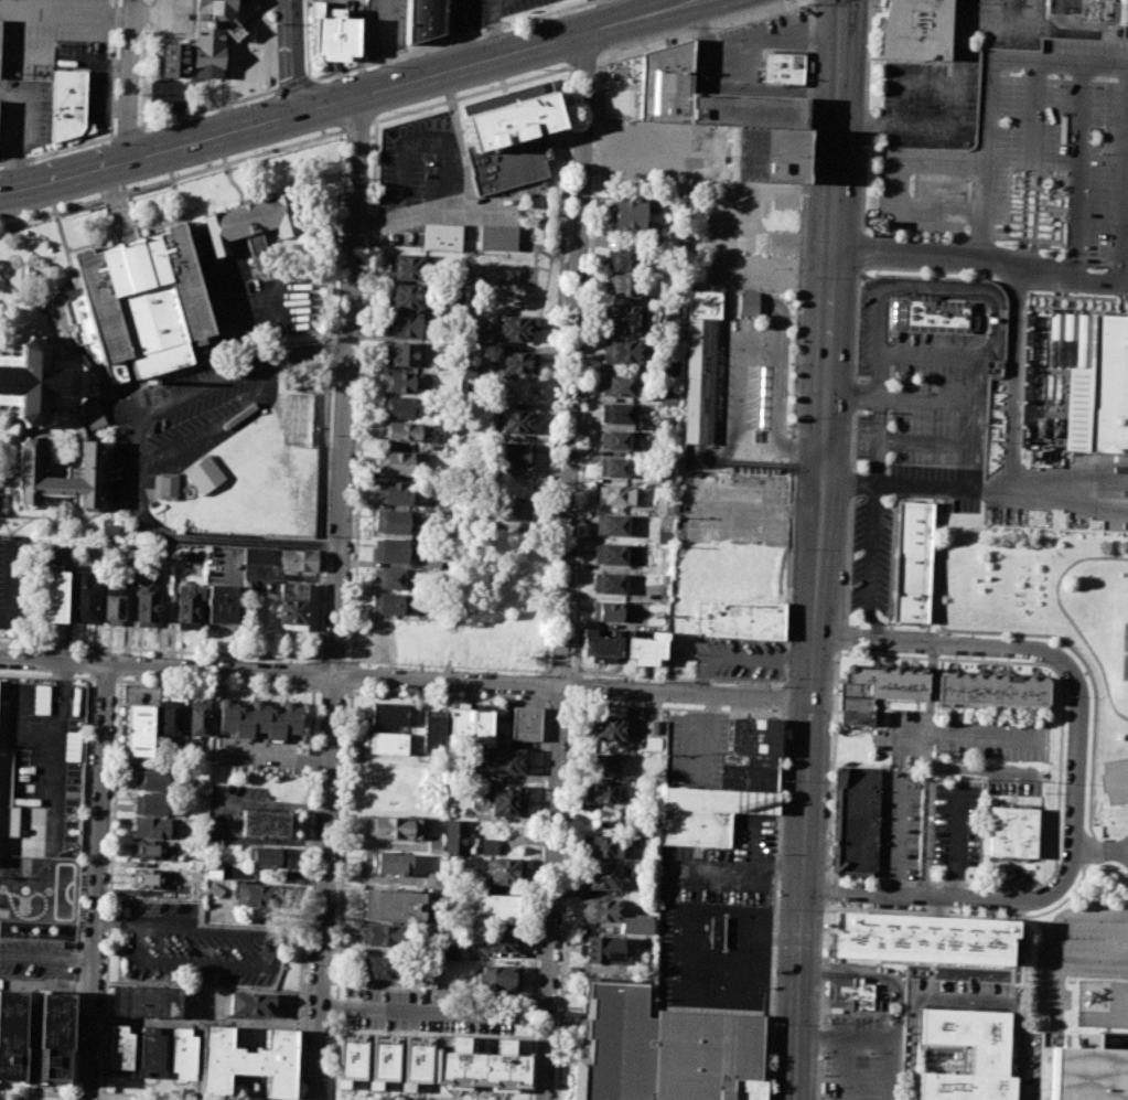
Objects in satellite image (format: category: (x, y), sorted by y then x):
building: (1109, 0)
street lamp: (869, 6)
parking lot: (493, 11)
road: (612, 11)
road: (67, 14)
building: (422, 19)
street lamp: (526, 23)
parking lot: (384, 26)
street lamp: (689, 26)
road: (696, 29)
building: (915, 29)
road: (1013, 29)
parking lot: (44, 32)
street lamp: (716, 33)
building: (211, 35)
road: (450, 35)
building: (334, 36)
road: (308, 39)
street lamp: (868, 39)
road: (452, 40)
road: (387, 43)
road: (749, 44)
road: (14, 47)
road: (527, 47)
road: (294, 55)
building: (173, 61)
road: (939, 61)
road: (583, 62)
road: (144, 64)
street lamp: (377, 65)
building: (778, 66)
road: (119, 67)
street lamp: (595, 67)
road: (114, 68)
street lamp: (539, 70)
street lamp: (870, 74)
parking lot: (87, 75)
parking lot: (956, 75)
road: (104, 78)
road: (132, 79)
street lamp: (276, 82)
road: (904, 82)
building: (664, 83)
road: (292, 84)
road: (744, 87)
street lamp: (881, 88)
road: (990, 88)
road: (470, 94)
street lamp: (245, 102)
building: (67, 105)
road: (326, 105)
street lamp: (906, 105)
street lamp: (941, 106)
road: (207, 109)
street lamp: (870, 109)
building: (743, 110)
street lamp: (388, 111)
road: (866, 113)
parking lot: (24, 115)
street lamp: (138, 115)
road: (955, 124)
road: (356, 127)
road: (18, 131)
road: (128, 131)
building: (509, 135)
street lamp: (105, 141)
street lamp: (343, 141)
street lamp: (863, 148)
street lamp: (257, 149)
road: (58, 150)
building: (762, 152)
road: (148, 153)
road: (1030, 169)
parking lot: (1054, 169)
road: (1078, 170)
road: (171, 179)
road: (172, 181)
parking lot: (437, 181)
road: (893, 184)
street lamp: (803, 186)
street lamp: (117, 188)
road: (465, 192)
road: (114, 196)
road: (1126, 209)
road: (54, 214)
building: (630, 214)
road: (119, 216)
road: (169, 222)
building: (250, 222)
road: (0, 226)
street lamp: (873, 234)
street lamp: (920, 234)
building: (441, 237)
building: (496, 237)
road: (126, 241)
road: (79, 247)
road: (861, 248)
road: (981, 254)
building: (625, 259)
building: (408, 267)
street lamp: (873, 274)
street lamp: (801, 277)
street lamp: (858, 280)
street lamp: (863, 282)
building: (624, 285)
road: (943, 292)
building: (406, 297)
road: (11, 300)
building: (138, 303)
building: (746, 305)
building: (935, 313)
road: (705, 314)
building: (672, 316)
building: (623, 319)
building: (404, 324)
building: (507, 329)
road: (71, 349)
building: (623, 352)
road: (924, 352)
building: (404, 353)
building: (85, 360)
building: (517, 362)
road: (588, 365)
building: (702, 365)
road: (558, 369)
building: (669, 369)
road: (879, 372)
parking lot: (205, 375)
street lamp: (927, 377)
street lamp: (858, 378)
building: (40, 381)
chimney: (150, 382)
building: (402, 383)
building: (620, 385)
building: (1113, 385)
road: (364, 392)
road: (850, 393)
road: (329, 395)
building: (668, 397)
road: (922, 398)
building: (400, 407)
building: (617, 413)
building: (88, 415)
street lamp: (795, 417)
building: (512, 421)
building: (667, 423)
road: (965, 423)
road: (208, 428)
building: (404, 431)
building: (616, 439)
road: (875, 439)
road: (920, 440)
road: (793, 448)
building: (513, 455)
road: (131, 460)
road: (8, 462)
building: (401, 463)
building: (614, 467)
building: (203, 474)
building: (58, 477)
road: (1009, 481)
building: (166, 485)
building: (396, 492)
building: (615, 495)
building: (662, 503)
building: (511, 508)
road: (99, 512)
road: (1066, 512)
road: (0, 514)
road: (2, 520)
building: (393, 522)
road: (18, 525)
building: (613, 525)
building: (109, 528)
building: (663, 537)
road: (9, 540)
railway: (797, 549)
road: (815, 549)
railway: (835, 549)
building: (394, 551)
building: (615, 555)
building: (258, 556)
building: (298, 559)
building: (914, 563)
road: (566, 565)
road: (871, 565)
building: (390, 578)
parking lot: (14, 580)
building: (610, 583)
road: (11, 585)
building: (52, 595)
building: (84, 597)
road: (337, 598)
building: (144, 601)
building: (112, 604)
building: (388, 604)
building: (293, 606)
building: (187, 607)
building: (222, 607)
building: (609, 612)
road: (1067, 617)
building: (741, 621)
road: (881, 631)
road: (841, 639)
road: (932, 643)
building: (601, 645)
building: (646, 649)
road: (160, 650)
road: (740, 653)
road: (1121, 654)
parking lot: (739, 655)
road: (334, 659)
road: (316, 660)
road: (53, 661)
road: (448, 665)
road: (560, 671)
road: (314, 674)
road: (351, 674)
road: (576, 674)
road: (46, 675)
road: (104, 677)
road: (458, 682)
road: (217, 684)
road: (545, 685)
building: (881, 686)
road: (573, 688)
road: (332, 690)
building: (993, 692)
road: (445, 696)
road: (784, 697)
building: (41, 699)
road: (559, 702)
road: (677, 708)
building: (388, 715)
building: (169, 717)
building: (852, 717)
building: (197, 718)
building: (257, 719)
road: (56, 720)
building: (471, 724)
building: (526, 724)
building: (654, 727)
building: (613, 728)
building: (138, 729)
building: (432, 731)
road: (694, 735)
parking lot: (959, 736)
building: (756, 738)
building: (388, 743)
building: (72, 746)
road: (1075, 746)
parking lot: (695, 748)
parking lot: (46, 754)
building: (507, 760)
road: (927, 760)
building: (608, 765)
road: (832, 766)
building: (750, 772)
road: (1060, 776)
building: (151, 779)
parking lot: (1115, 781)
road: (1116, 782)
building: (602, 792)
building: (505, 800)
building: (721, 801)
building: (151, 804)
building: (9, 820)
building: (855, 822)
building: (264, 823)
parking lot: (955, 823)
parking lot: (896, 824)
building: (152, 827)
building: (393, 827)
building: (696, 829)
building: (1012, 832)
building: (455, 836)
road: (896, 837)
building: (434, 845)
building: (602, 845)
road: (956, 845)
building: (490, 846)
road: (1102, 850)
building: (151, 851)
road: (539, 852)
road: (1089, 852)
building: (267, 857)
building: (385, 863)
parking lot: (724, 867)
building: (505, 872)
building: (214, 874)
building: (602, 875)
road: (42, 876)
building: (149, 878)
building: (433, 879)
road: (97, 882)
road: (80, 888)
road: (110, 889)
building: (215, 889)
building: (196, 891)
road: (828, 891)
building: (253, 894)
road: (303, 894)
road: (341, 894)
road: (952, 897)
road: (563, 900)
building: (391, 905)
road: (775, 906)
building: (496, 910)
building: (600, 910)
road: (965, 912)
parking lot: (39, 916)
road: (49, 917)
road: (115, 922)
building: (636, 926)
building: (718, 932)
road: (1059, 935)
building: (383, 936)
building: (498, 941)
building: (920, 941)
parking lot: (196, 948)
parking lot: (1079, 949)
building: (604, 951)
building: (448, 952)
parking lot: (713, 955)
road: (47, 958)
road: (272, 966)
building: (385, 968)
road: (1098, 975)
building: (501, 978)
road: (874, 978)
road: (46, 986)
building: (853, 996)
road: (960, 997)
building: (143, 1002)
road: (824, 1003)
building: (250, 1004)
road: (415, 1011)
parking lot: (417, 1014)
building: (52, 1030)
road: (808, 1033)
road: (858, 1035)
building: (118, 1049)
building: (150, 1051)
building: (666, 1051)
building: (182, 1054)
building: (351, 1057)
building: (383, 1057)
building: (988, 1058)
building: (416, 1059)
parking lot: (860, 1060)
building: (247, 1062)
building: (482, 1065)
road: (845, 1067)
road: (894, 1068)
building: (1088, 1070)
road: (37, 1093)
road: (87, 1096)
road: (131, 1098)

